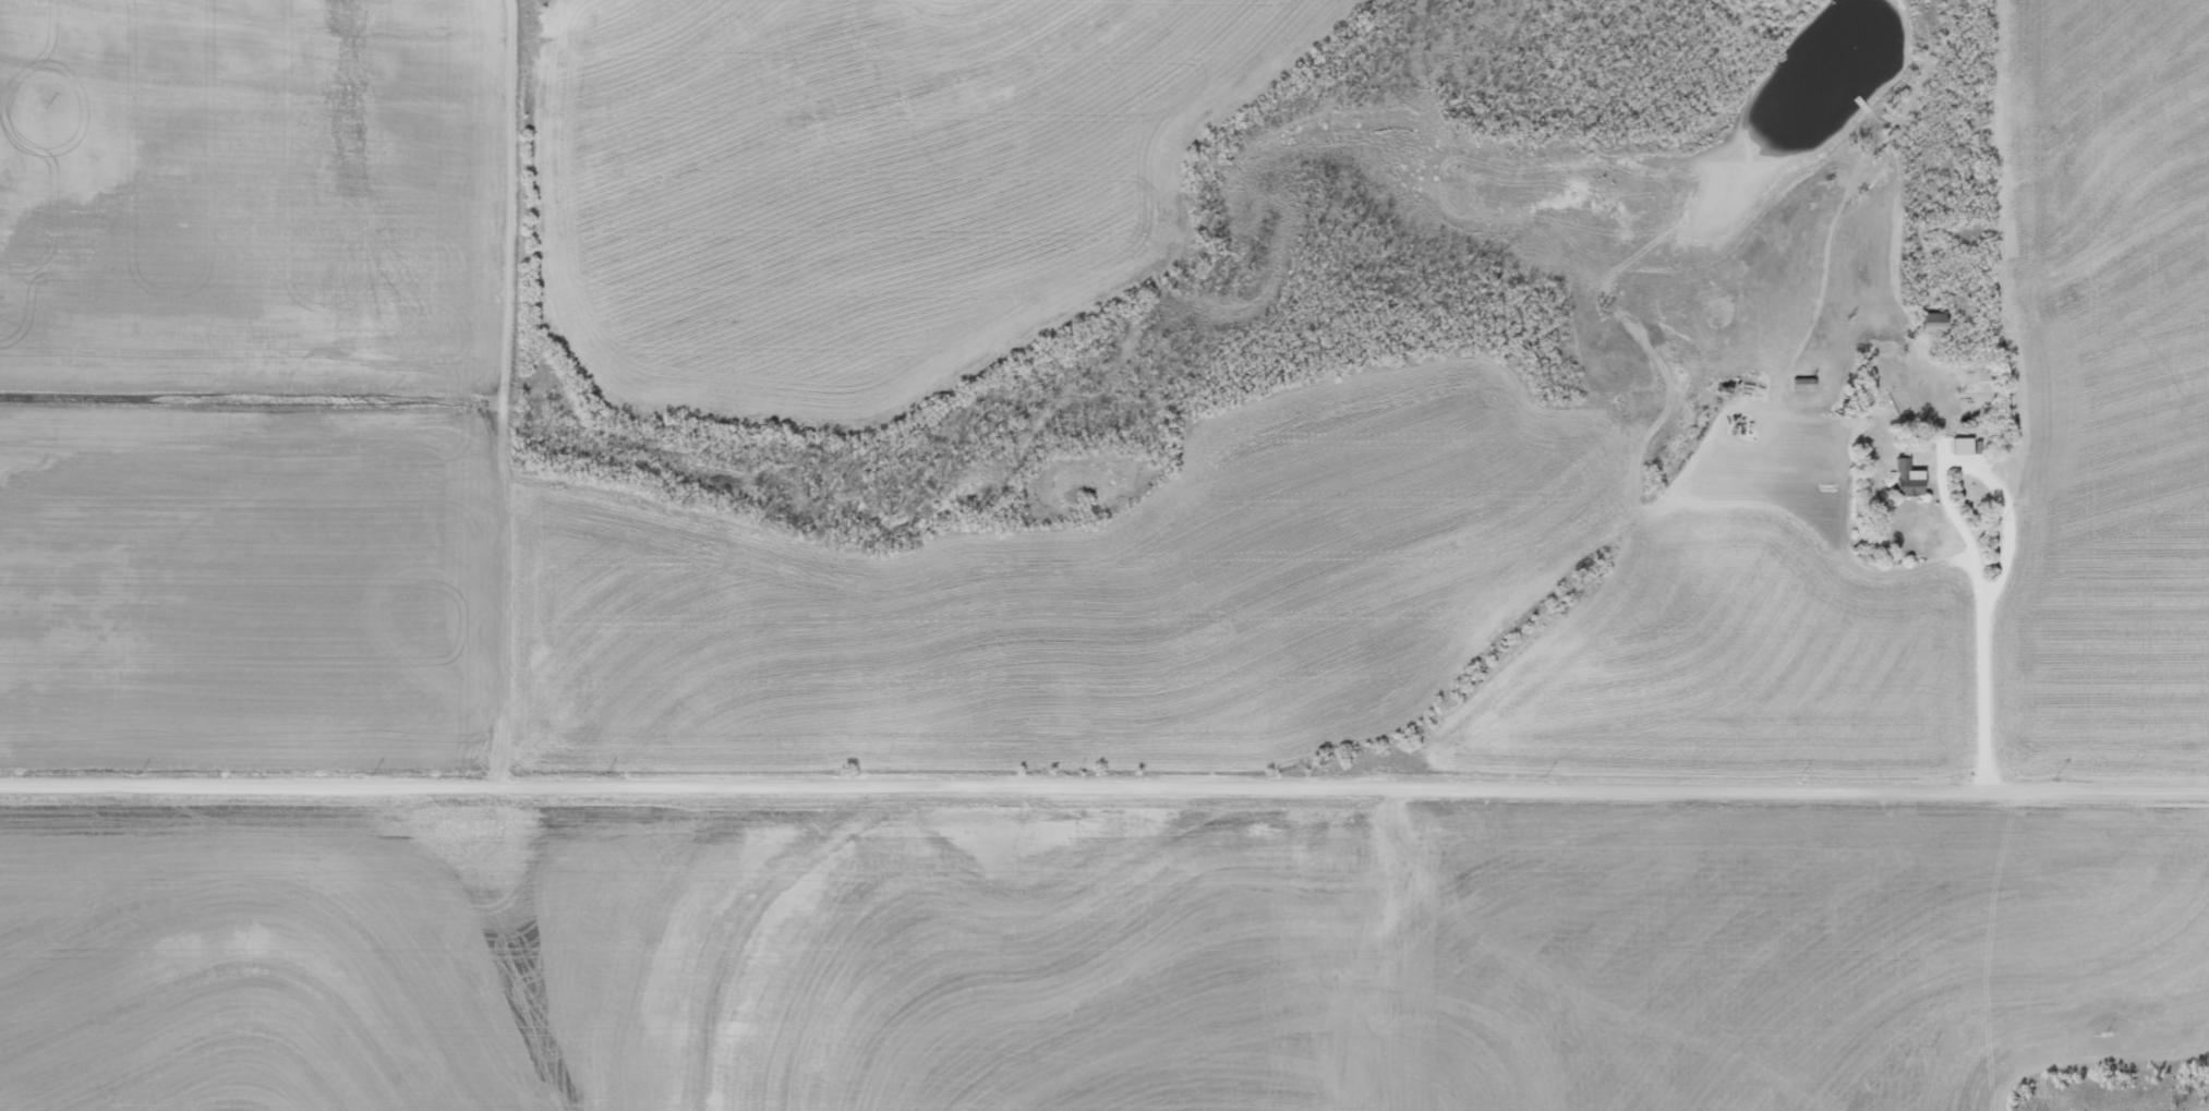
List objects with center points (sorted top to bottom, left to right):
building: (1932, 322)
building: (1961, 446)
road: (1104, 807)

